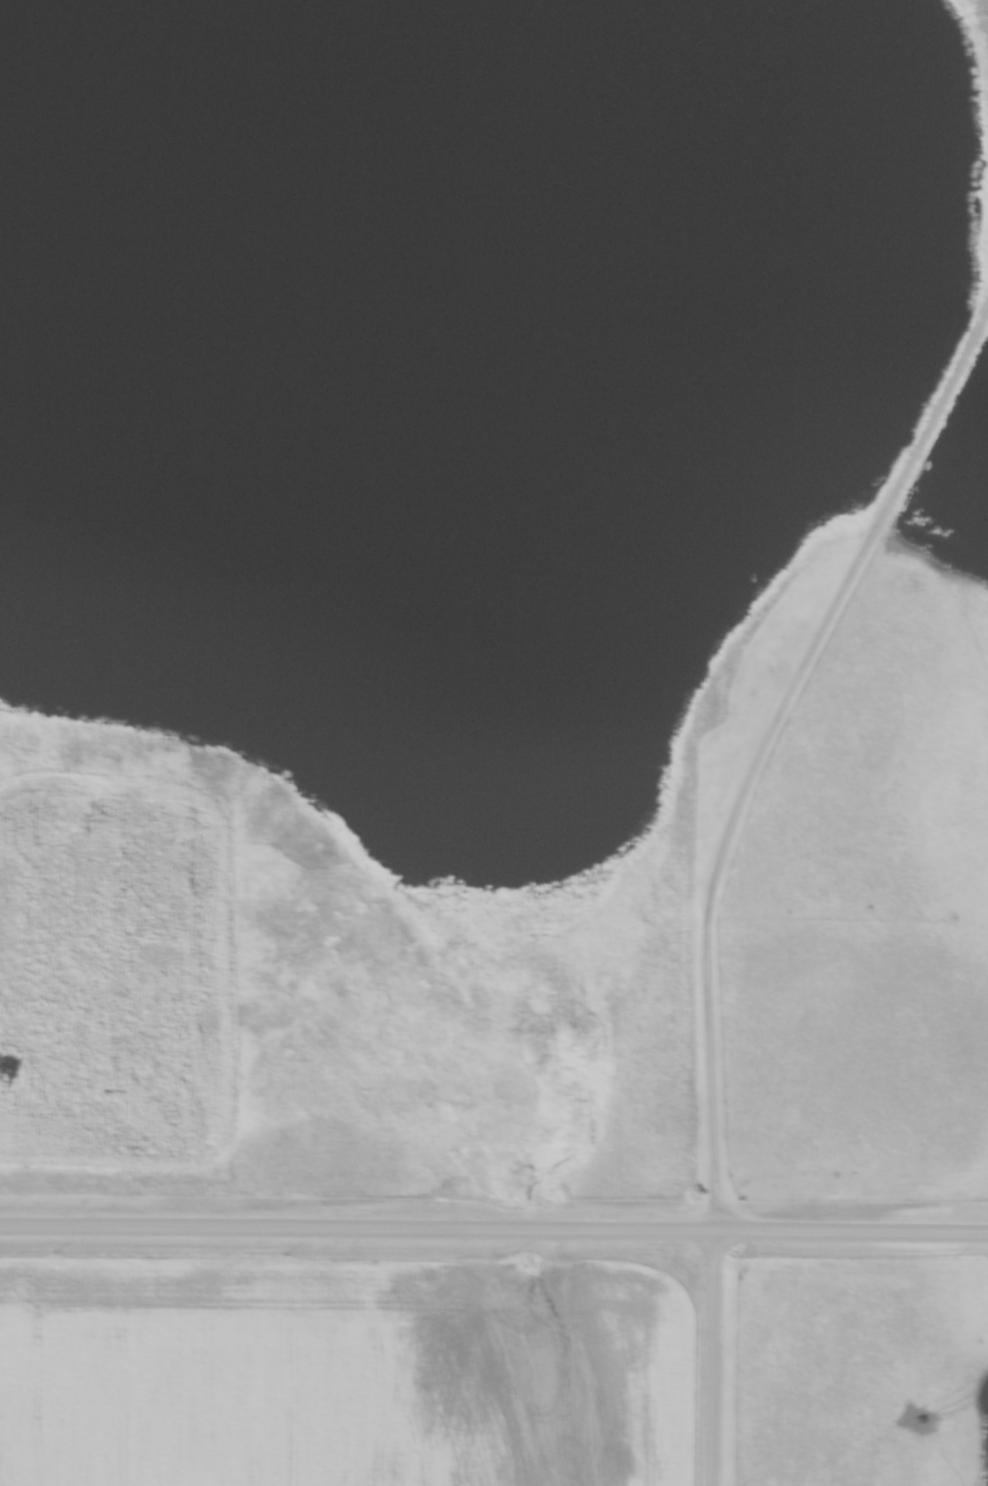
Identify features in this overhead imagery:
road: (494, 1227)
road: (713, 1357)

